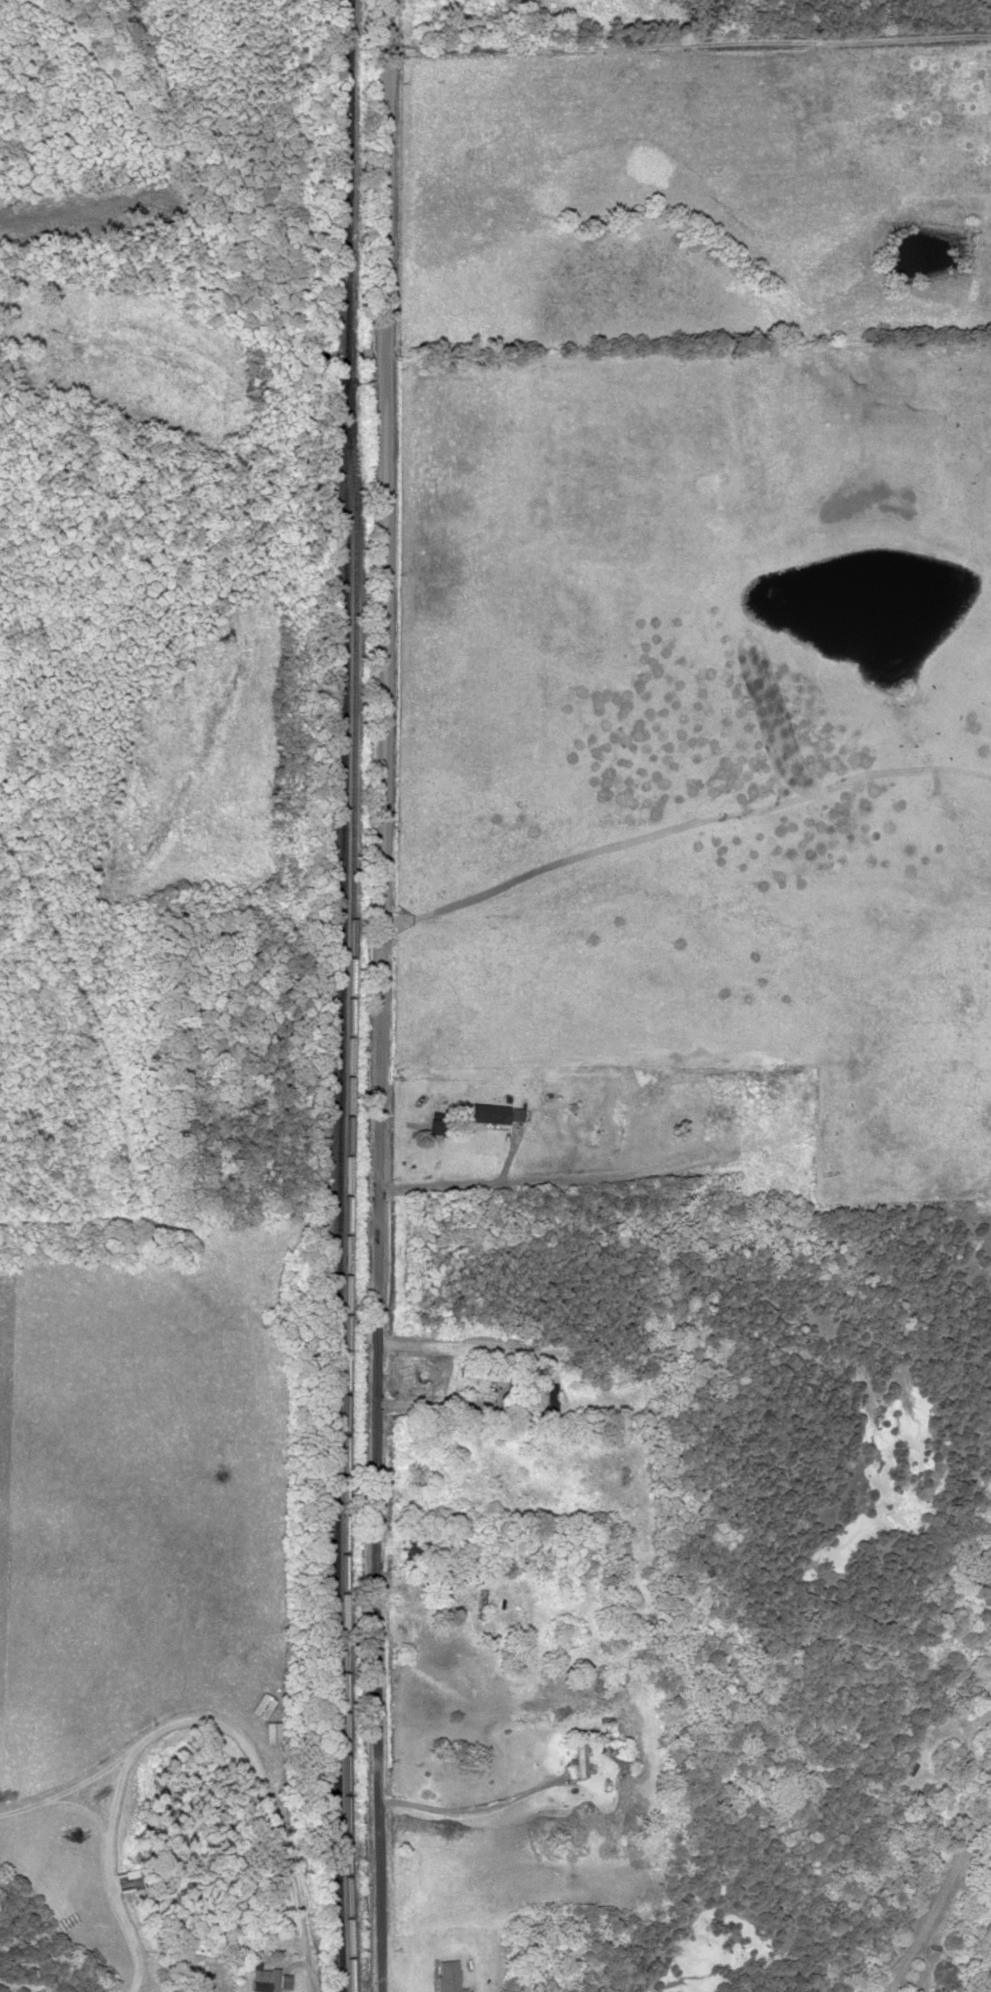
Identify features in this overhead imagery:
road: (386, 23)
road: (688, 49)
railway: (342, 996)
road: (380, 1019)
building: (438, 1107)
building: (713, 1113)
building: (494, 1114)
railway: (347, 1207)
building: (482, 1373)
building: (414, 1376)
building: (546, 1398)
building: (415, 1548)
road: (191, 1719)
building: (579, 1753)
building: (258, 1973)
building: (448, 1976)
building: (273, 1979)
building: (283, 1981)
road: (17, 1986)

